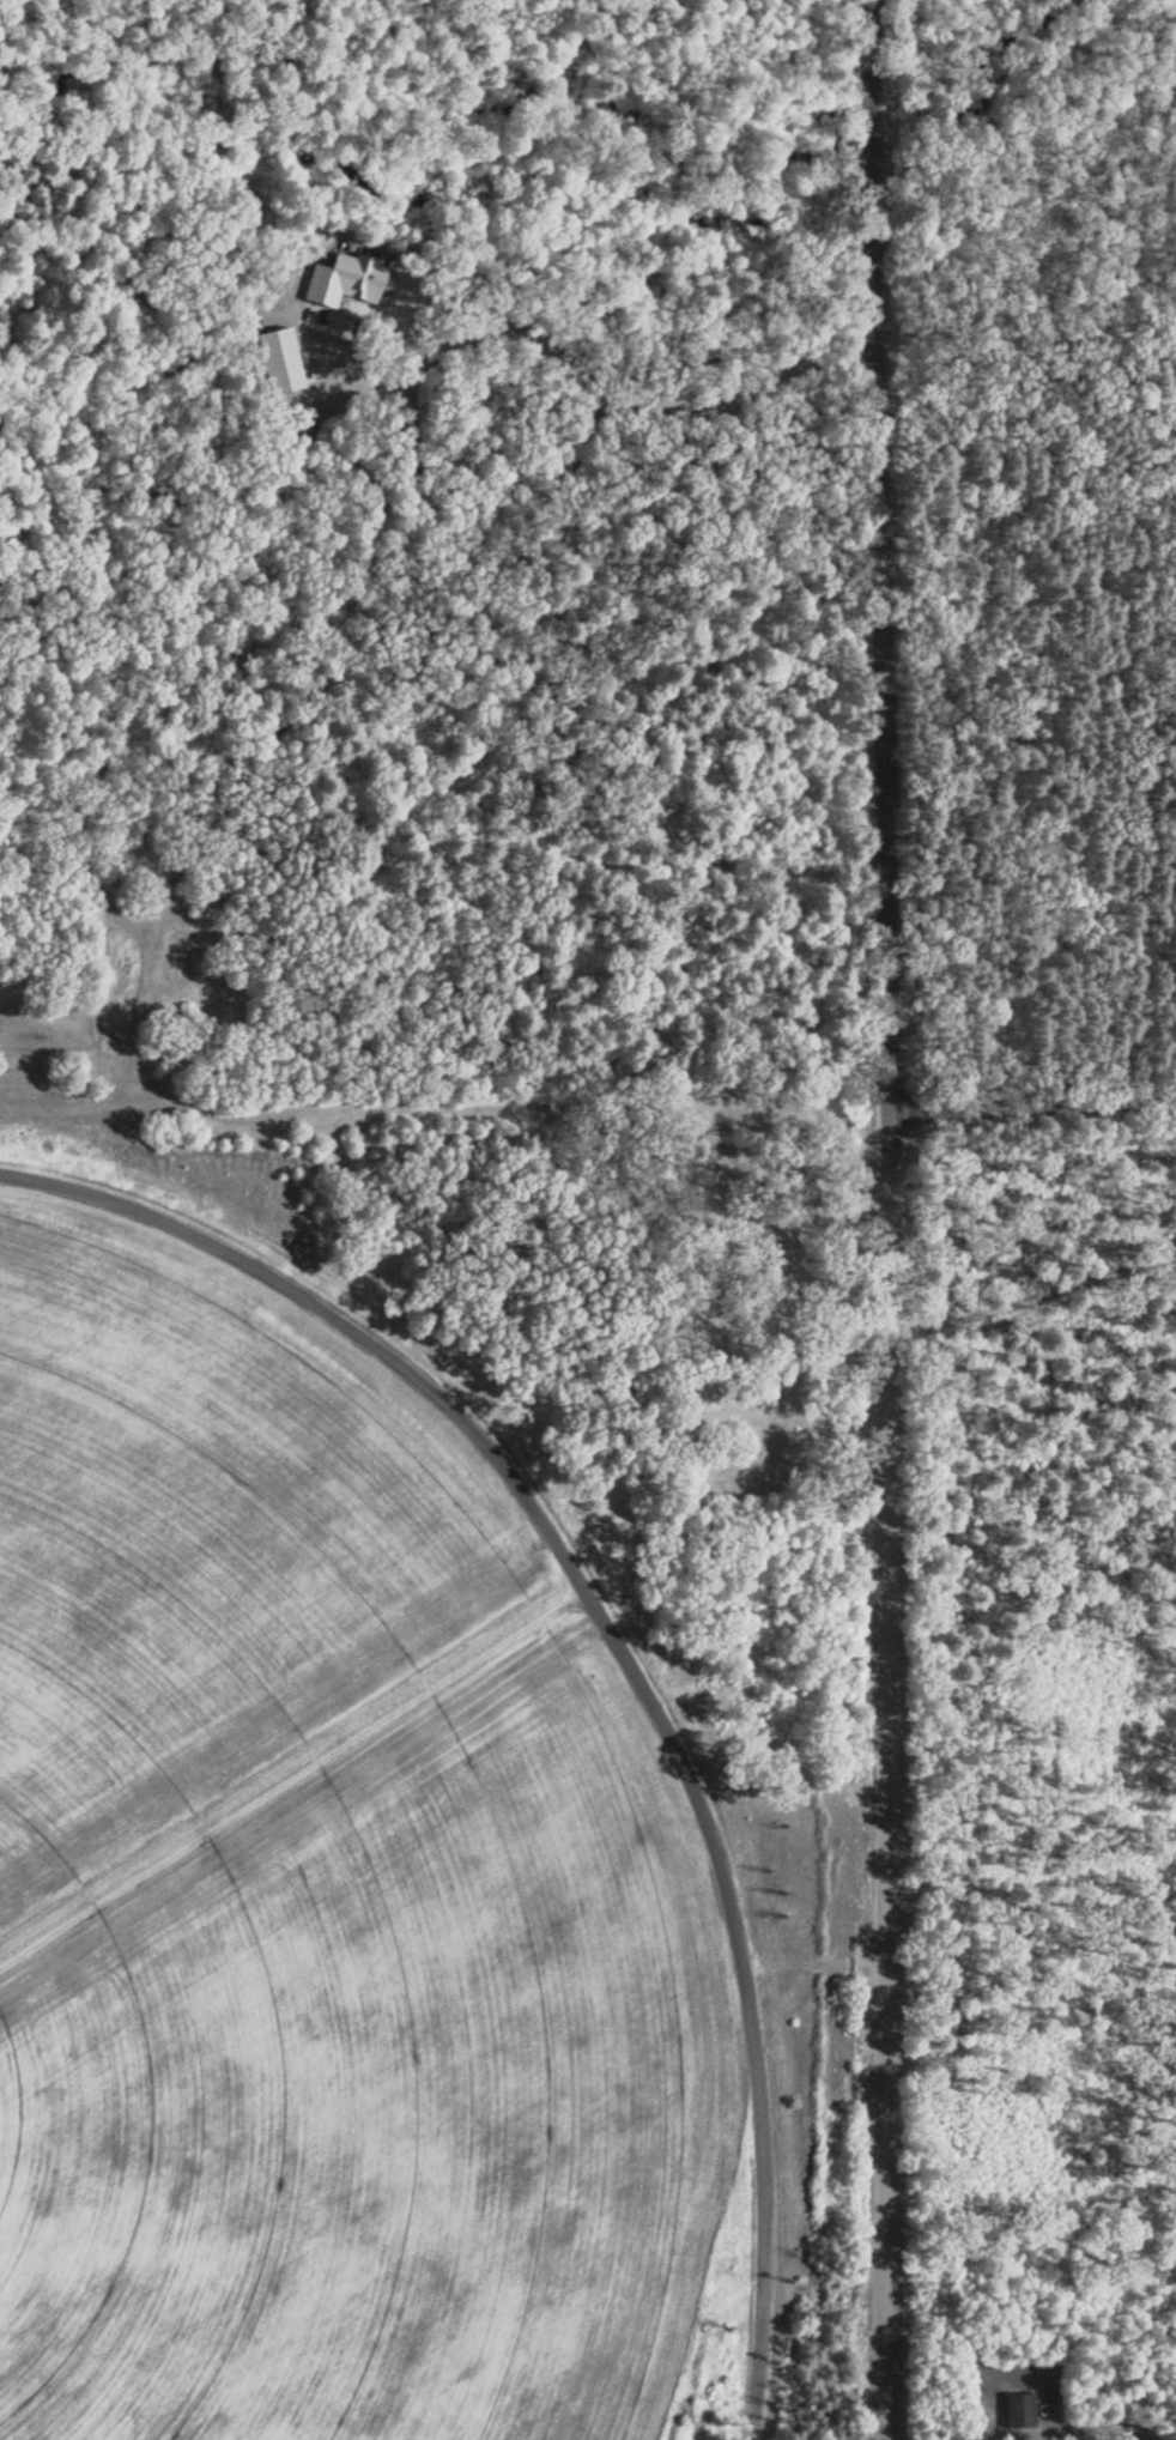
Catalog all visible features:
road: (867, 47)
road: (868, 107)
building: (345, 278)
building: (280, 358)
road: (569, 374)
road: (588, 1112)
road: (886, 1279)
park: (752, 1319)
wastewater plant: (365, 1866)
building: (1020, 2409)
road: (1083, 2428)

